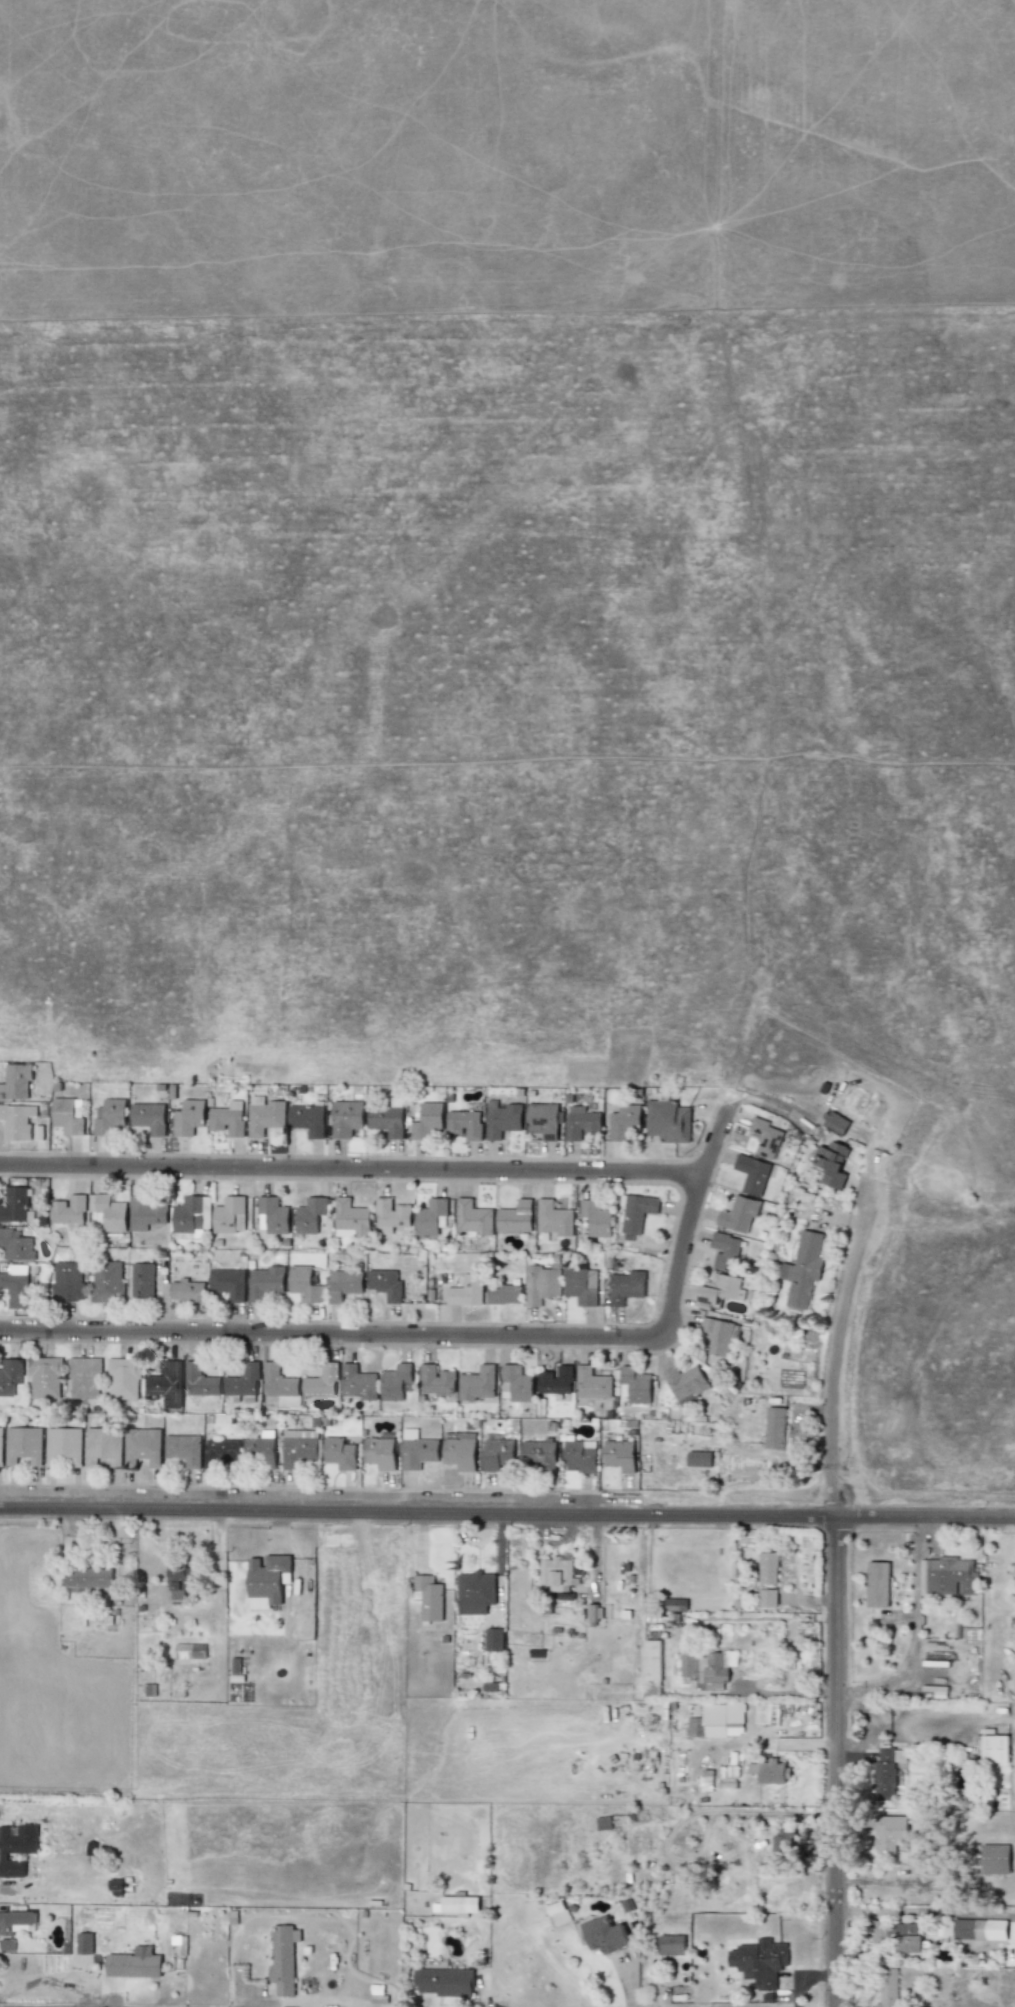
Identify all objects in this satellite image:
building: (15, 1081)
building: (68, 1115)
building: (264, 1116)
building: (109, 1117)
building: (149, 1117)
building: (188, 1117)
building: (345, 1118)
building: (387, 1118)
building: (228, 1119)
building: (307, 1119)
building: (502, 1119)
building: (427, 1120)
building: (543, 1120)
building: (17, 1121)
building: (667, 1121)
building: (624, 1122)
building: (833, 1122)
building: (581, 1123)
building: (464, 1124)
building: (766, 1138)
building: (829, 1163)
road: (349, 1169)
building: (752, 1174)
building: (16, 1205)
building: (70, 1212)
building: (108, 1212)
building: (145, 1213)
building: (636, 1213)
building: (310, 1214)
building: (739, 1214)
building: (229, 1215)
building: (272, 1215)
building: (391, 1215)
building: (192, 1216)
building: (432, 1216)
building: (473, 1217)
building: (515, 1217)
building: (554, 1218)
building: (596, 1218)
building: (351, 1219)
building: (16, 1245)
building: (724, 1251)
building: (803, 1268)
building: (69, 1281)
building: (142, 1281)
building: (107, 1282)
building: (264, 1282)
building: (228, 1283)
building: (303, 1284)
building: (343, 1284)
building: (385, 1284)
building: (542, 1284)
building: (16, 1286)
building: (582, 1286)
building: (625, 1287)
building: (719, 1290)
building: (187, 1291)
building: (467, 1291)
building: (504, 1294)
road: (448, 1335)
building: (719, 1335)
road: (836, 1356)
building: (10, 1376)
building: (45, 1378)
building: (84, 1378)
building: (123, 1378)
building: (436, 1380)
building: (556, 1380)
building: (200, 1381)
building: (242, 1381)
building: (278, 1381)
building: (321, 1382)
building: (358, 1382)
building: (396, 1382)
building: (685, 1382)
building: (166, 1383)
building: (477, 1383)
building: (516, 1383)
building: (592, 1384)
building: (634, 1385)
building: (775, 1428)
building: (1, 1445)
building: (23, 1445)
building: (103, 1446)
building: (142, 1446)
building: (63, 1447)
building: (299, 1448)
building: (183, 1449)
building: (261, 1449)
building: (417, 1450)
building: (220, 1451)
building: (460, 1452)
building: (339, 1453)
building: (379, 1453)
building: (497, 1454)
building: (540, 1454)
building: (580, 1455)
building: (619, 1455)
building: (698, 1458)
road: (507, 1514)
building: (768, 1568)
building: (555, 1574)
building: (950, 1576)
building: (87, 1577)
building: (265, 1580)
building: (179, 1582)
building: (877, 1584)
building: (475, 1592)
building: (429, 1597)
building: (767, 1598)
road: (915, 1603)
building: (594, 1612)
building: (493, 1639)
building: (189, 1651)
building: (235, 1666)
building: (653, 1667)
building: (705, 1669)
road: (862, 1689)
road: (785, 1693)
building: (720, 1722)
road: (937, 1723)
road: (878, 1726)
building: (994, 1749)
road: (836, 1761)
building: (885, 1770)
building: (767, 1772)
building: (603, 1822)
building: (889, 1833)
building: (783, 1838)
building: (16, 1847)
building: (995, 1859)
building: (459, 1905)
road: (921, 1911)
road: (1010, 1914)
building: (14, 1926)
building: (979, 1929)
building: (604, 1935)
building: (906, 1937)
building: (84, 1943)
building: (180, 1943)
building: (671, 1944)
building: (283, 1959)
building: (759, 1962)
building: (134, 1963)
building: (442, 1981)
building: (887, 1988)
road: (54, 2006)

